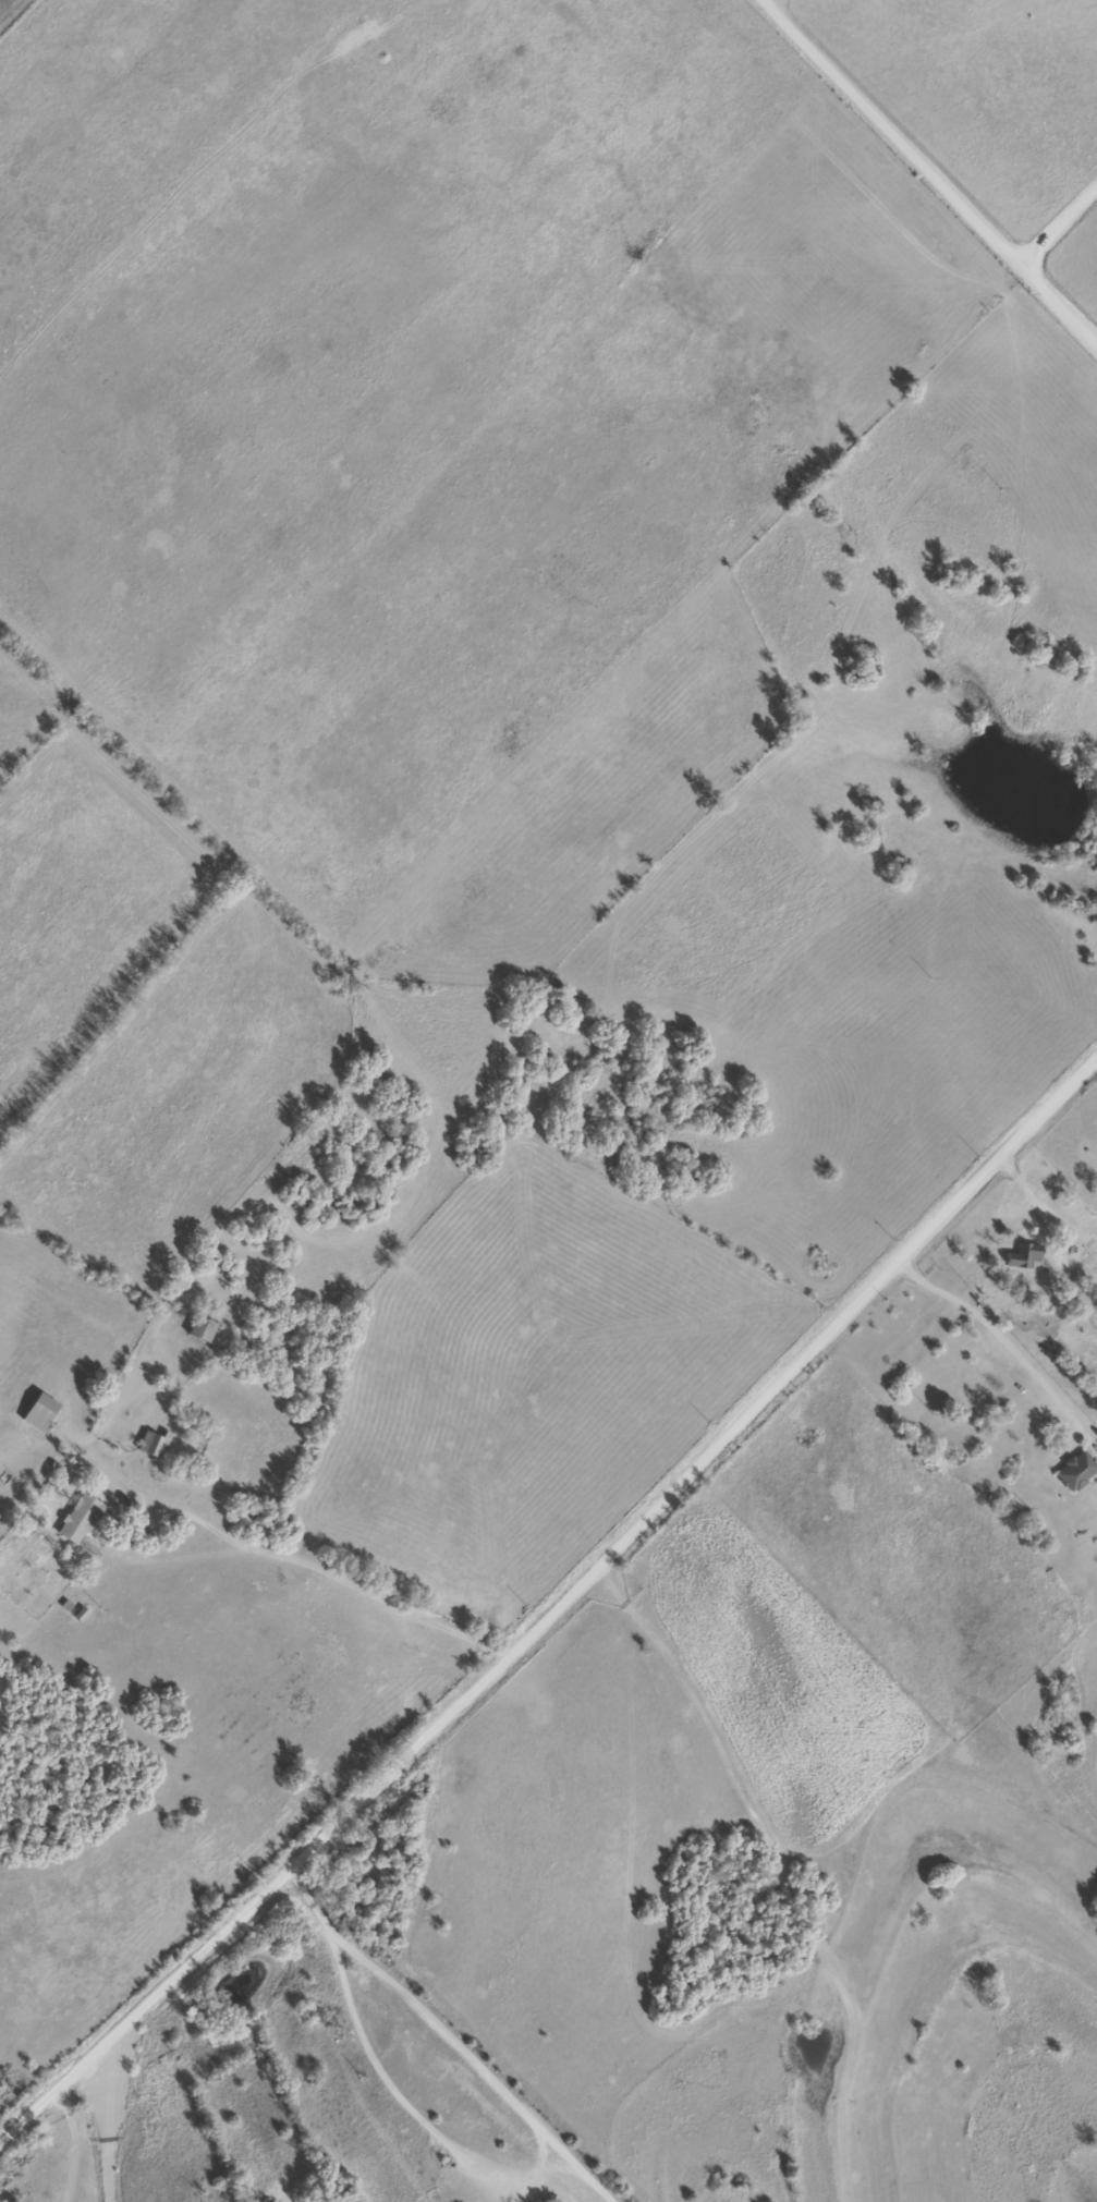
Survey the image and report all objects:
road: (924, 173)
road: (1053, 305)
building: (1024, 1256)
building: (1002, 1297)
road: (991, 1328)
building: (202, 1330)
building: (40, 1411)
building: (153, 1443)
building: (1076, 1471)
road: (178, 1489)
building: (81, 1518)
road: (369, 1582)
road: (548, 1595)
road: (442, 2036)
road: (106, 2122)

